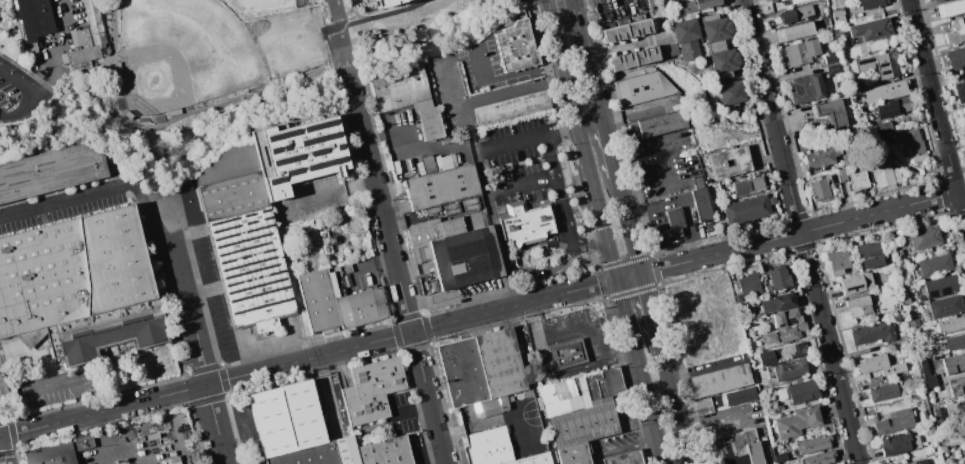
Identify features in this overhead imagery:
building: (381, 1)
building: (676, 1)
building: (775, 1)
building: (799, 1)
building: (805, 1)
building: (927, 1)
building: (939, 1)
road: (559, 2)
road: (569, 2)
building: (706, 4)
building: (871, 4)
park: (256, 7)
building: (654, 8)
building: (951, 8)
road: (562, 13)
building: (795, 14)
road: (381, 15)
building: (838, 16)
building: (36, 20)
building: (94, 21)
building: (715, 30)
building: (626, 31)
building: (795, 31)
building: (869, 31)
road: (338, 32)
building: (955, 32)
building: (80, 38)
building: (687, 38)
park: (287, 42)
building: (516, 47)
road: (559, 49)
building: (673, 49)
building: (802, 53)
park: (182, 54)
building: (634, 58)
building: (956, 59)
rooftop solar panel: (864, 60)
building: (722, 61)
road: (757, 61)
park: (151, 62)
rooftop solar panel: (882, 62)
building: (33, 63)
road: (589, 65)
building: (882, 65)
building: (118, 69)
building: (834, 69)
road: (53, 70)
rooftop solar panel: (884, 71)
building: (39, 75)
road: (507, 78)
road: (18, 85)
building: (858, 86)
building: (398, 87)
building: (644, 88)
building: (807, 88)
road: (517, 91)
parking lot: (19, 92)
building: (960, 92)
building: (731, 93)
road: (932, 96)
building: (889, 98)
road: (573, 101)
building: (422, 105)
building: (512, 109)
building: (174, 112)
building: (832, 112)
building: (128, 115)
road: (194, 115)
road: (1, 117)
building: (964, 117)
road: (134, 120)
road: (591, 121)
building: (431, 123)
rooftop solar panel: (318, 124)
building: (657, 125)
building: (882, 127)
building: (963, 127)
road: (563, 129)
rooftop solar panel: (281, 132)
rooftop solar panel: (317, 136)
building: (882, 141)
road: (513, 143)
rooftop solar panel: (338, 144)
rooftop solar panel: (285, 146)
road: (610, 146)
building: (913, 146)
road: (409, 147)
rooftop solar panel: (316, 148)
rooftop solar panel: (272, 149)
rooftop solar panel: (265, 155)
road: (552, 155)
rooftop solar panel: (286, 156)
building: (821, 158)
building: (850, 159)
rooftop solar panel: (321, 161)
building: (230, 163)
building: (712, 163)
building: (429, 165)
rooftop solar panel: (292, 169)
building: (50, 172)
building: (884, 174)
building: (838, 176)
rooftop solar panel: (276, 179)
building: (698, 182)
building: (858, 182)
road: (522, 184)
building: (749, 186)
building: (442, 187)
building: (820, 191)
road: (538, 192)
road: (326, 196)
road: (562, 198)
road: (683, 200)
building: (772, 200)
road: (63, 201)
road: (564, 205)
building: (702, 205)
road: (961, 207)
building: (746, 209)
road: (149, 210)
rooftop solar panel: (264, 211)
rooftop solar panel: (251, 214)
rooftop solar panel: (245, 215)
rooftop solar panel: (267, 216)
building: (265, 217)
rooftop solar panel: (221, 220)
building: (475, 221)
rooftop solar panel: (246, 222)
rooftop solar panel: (252, 222)
building: (525, 223)
road: (629, 224)
building: (671, 226)
building: (452, 227)
rooftop solar panel: (223, 228)
rooftop solar panel: (259, 228)
rooftop solar panel: (247, 231)
building: (424, 231)
rooftop solar panel: (258, 235)
rooftop solar panel: (226, 236)
road: (499, 236)
building: (923, 237)
rooftop solar panel: (251, 238)
rooftop solar panel: (256, 243)
road: (589, 244)
rooftop solar panel: (266, 248)
building: (870, 255)
rooftop solar panel: (466, 257)
building: (466, 258)
rooftop solar panel: (257, 259)
building: (838, 262)
road: (396, 264)
building: (935, 266)
road: (367, 267)
rooftop solar panel: (257, 268)
road: (524, 268)
rooftop solar panel: (274, 271)
rooftop solar panel: (257, 276)
building: (779, 279)
building: (867, 280)
rooftop solar panel: (269, 281)
road: (295, 282)
building: (851, 284)
building: (435, 285)
building: (750, 285)
building: (80, 287)
building: (940, 287)
rooftop solar panel: (269, 289)
rooftop solar panel: (944, 290)
road: (816, 293)
rooftop solar panel: (930, 293)
road: (621, 294)
building: (906, 300)
rooftop solar panel: (275, 301)
building: (318, 301)
building: (778, 302)
road: (650, 305)
building: (858, 305)
building: (945, 307)
building: (361, 308)
road: (478, 315)
building: (786, 318)
rooftop solar panel: (791, 319)
road: (535, 323)
rooftop solar panel: (778, 324)
building: (951, 325)
road: (583, 332)
building: (873, 333)
building: (785, 334)
road: (291, 340)
building: (954, 342)
road: (200, 350)
road: (249, 351)
building: (568, 354)
building: (780, 354)
road: (620, 355)
building: (501, 363)
building: (873, 363)
building: (954, 364)
building: (904, 367)
building: (790, 370)
building: (463, 372)
road: (560, 374)
building: (928, 376)
building: (910, 378)
road: (70, 381)
building: (720, 381)
building: (957, 385)
building: (372, 391)
building: (583, 392)
building: (802, 392)
building: (886, 392)
building: (742, 395)
road: (674, 400)
building: (703, 406)
building: (490, 407)
building: (780, 408)
road: (413, 410)
building: (935, 412)
building: (956, 413)
building: (287, 418)
building: (798, 422)
building: (894, 422)
building: (585, 424)
building: (931, 429)
road: (104, 438)
building: (898, 443)
building: (813, 444)
building: (941, 444)
building: (493, 447)
road: (628, 448)
building: (734, 449)
building: (345, 450)
building: (58, 451)
road: (3, 452)
building: (385, 452)
building: (306, 455)
building: (573, 455)
building: (625, 458)
building: (820, 458)
building: (534, 459)
road: (597, 460)
building: (919, 462)

